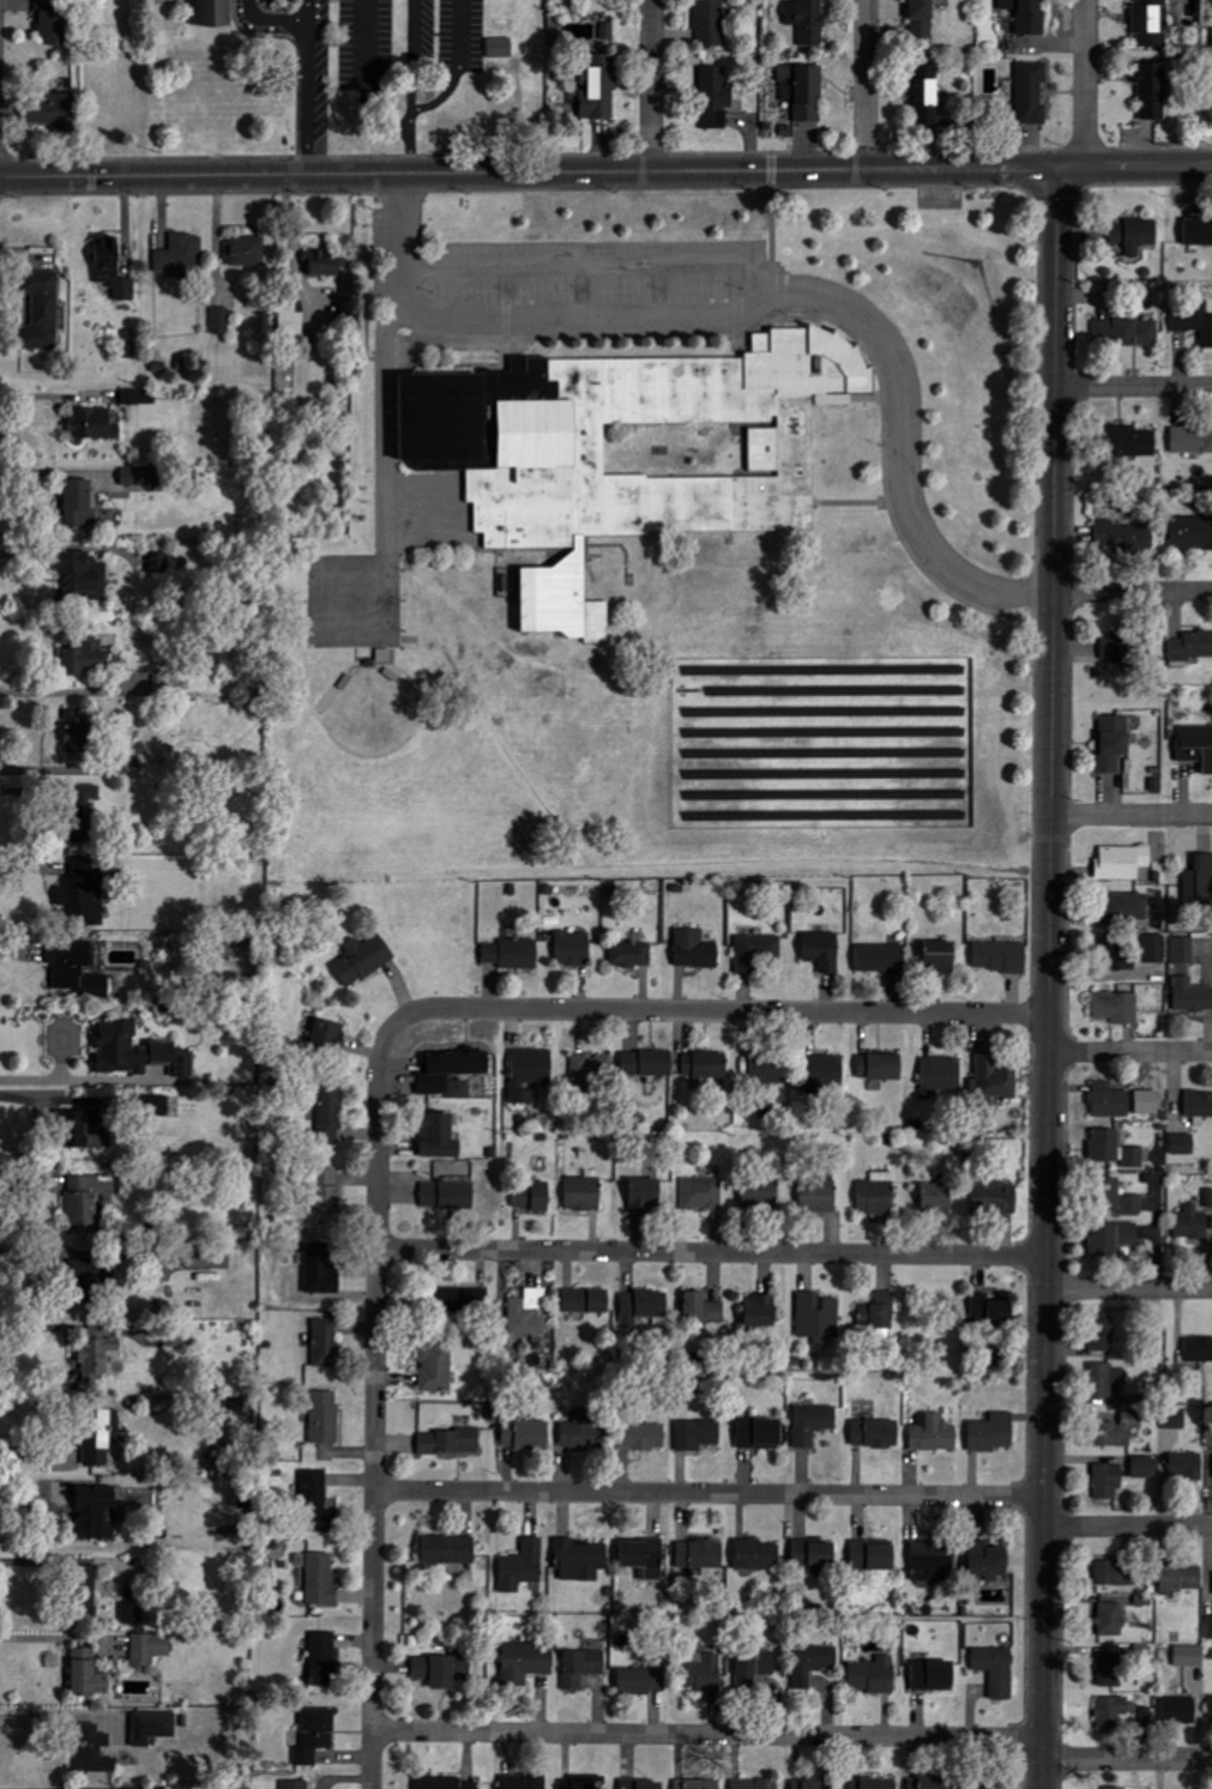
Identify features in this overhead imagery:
building: (258, 10)
building: (212, 12)
building: (1029, 14)
building: (53, 19)
building: (808, 20)
building: (923, 20)
building: (710, 23)
building: (1152, 23)
building: (608, 31)
building: (501, 47)
road: (1086, 83)
road: (653, 85)
road: (866, 85)
road: (310, 87)
road: (415, 87)
building: (601, 87)
building: (804, 90)
building: (1153, 90)
building: (927, 92)
building: (1032, 92)
building: (716, 97)
building: (56, 110)
road: (1134, 165)
road: (529, 174)
building: (1199, 231)
building: (1135, 234)
building: (247, 250)
building: (182, 254)
building: (1177, 255)
building: (325, 264)
building: (113, 267)
road: (762, 296)
building: (42, 309)
building: (293, 318)
building: (222, 320)
building: (1195, 321)
building: (1127, 332)
road: (1134, 386)
building: (140, 395)
building: (1192, 440)
building: (1132, 443)
building: (656, 466)
building: (145, 476)
building: (80, 503)
building: (1192, 533)
building: (1126, 536)
building: (84, 576)
road: (1133, 593)
building: (1192, 646)
building: (1110, 649)
building: (1132, 649)
building: (86, 659)
building: (163, 682)
building: (78, 731)
building: (1114, 743)
building: (1196, 745)
building: (86, 811)
road: (1130, 815)
building: (1123, 863)
building: (1199, 883)
building: (86, 892)
building: (1124, 908)
building: (574, 949)
building: (697, 949)
building: (1156, 949)
building: (824, 950)
building: (1184, 950)
building: (758, 951)
building: (514, 954)
building: (632, 954)
building: (1001, 956)
building: (1116, 956)
building: (941, 957)
building: (364, 959)
building: (882, 959)
building: (77, 968)
road: (1049, 979)
building: (1192, 996)
building: (1117, 1007)
road: (744, 1011)
building: (328, 1036)
building: (121, 1048)
road: (1130, 1052)
building: (174, 1058)
building: (649, 1064)
building: (706, 1065)
building: (881, 1066)
building: (593, 1069)
building: (526, 1070)
building: (768, 1070)
building: (452, 1072)
building: (826, 1072)
building: (942, 1076)
building: (996, 1080)
building: (1148, 1102)
building: (1111, 1104)
building: (1199, 1105)
building: (331, 1116)
building: (82, 1129)
building: (440, 1137)
building: (1184, 1144)
building: (1116, 1150)
building: (327, 1192)
building: (585, 1193)
building: (647, 1193)
building: (878, 1193)
building: (703, 1195)
building: (761, 1195)
building: (448, 1196)
building: (533, 1197)
building: (820, 1197)
building: (939, 1197)
building: (1120, 1198)
building: (1210, 1198)
building: (995, 1199)
building: (89, 1201)
building: (1193, 1223)
building: (1112, 1239)
road: (712, 1252)
building: (210, 1259)
building: (96, 1279)
road: (1128, 1289)
building: (464, 1301)
building: (587, 1301)
building: (645, 1307)
building: (704, 1310)
building: (762, 1311)
building: (880, 1311)
building: (993, 1311)
building: (530, 1313)
building: (819, 1319)
building: (1103, 1334)
building: (326, 1343)
building: (1199, 1350)
building: (98, 1356)
building: (436, 1368)
road: (375, 1380)
building: (1108, 1380)
building: (242, 1408)
building: (326, 1418)
building: (1176, 1419)
building: (814, 1424)
building: (585, 1431)
building: (1120, 1431)
building: (994, 1433)
building: (699, 1434)
building: (761, 1434)
building: (876, 1434)
building: (934, 1434)
building: (102, 1436)
building: (529, 1437)
building: (645, 1437)
building: (1210, 1437)
building: (450, 1443)
building: (1145, 1468)
building: (1188, 1468)
building: (1108, 1480)
road: (708, 1494)
building: (318, 1504)
building: (97, 1513)
road: (1127, 1527)
building: (451, 1551)
building: (815, 1554)
building: (701, 1555)
building: (758, 1555)
building: (645, 1557)
building: (874, 1558)
building: (583, 1560)
building: (988, 1561)
building: (933, 1563)
building: (523, 1567)
building: (1112, 1573)
building: (1182, 1579)
building: (321, 1581)
building: (86, 1583)
building: (133, 1614)
building: (1112, 1618)
building: (1210, 1627)
building: (151, 1648)
building: (1190, 1655)
building: (324, 1658)
building: (527, 1660)
building: (813, 1662)
building: (583, 1666)
building: (754, 1667)
building: (442, 1669)
building: (997, 1669)
building: (1111, 1669)
building: (704, 1673)
building: (875, 1674)
building: (90, 1678)
building: (643, 1680)
building: (1211, 1705)
building: (1180, 1709)
building: (1114, 1711)
building: (153, 1727)
building: (315, 1734)
road: (706, 1735)
building: (95, 1749)
road: (1126, 1760)
building: (524, 1781)
building: (447, 1782)
building: (933, 1782)
building: (580, 1783)
building: (643, 1783)
building: (756, 1783)
building: (816, 1783)
building: (875, 1783)
building: (989, 1783)
building: (296, 1784)
building: (699, 1784)
building: (1116, 1788)

